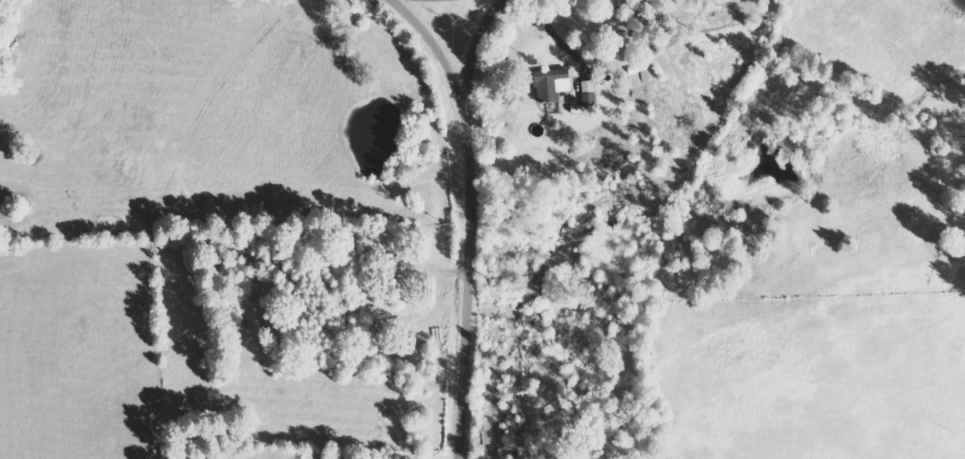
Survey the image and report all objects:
road: (413, 8)
road: (354, 13)
building: (554, 84)
road: (464, 235)

